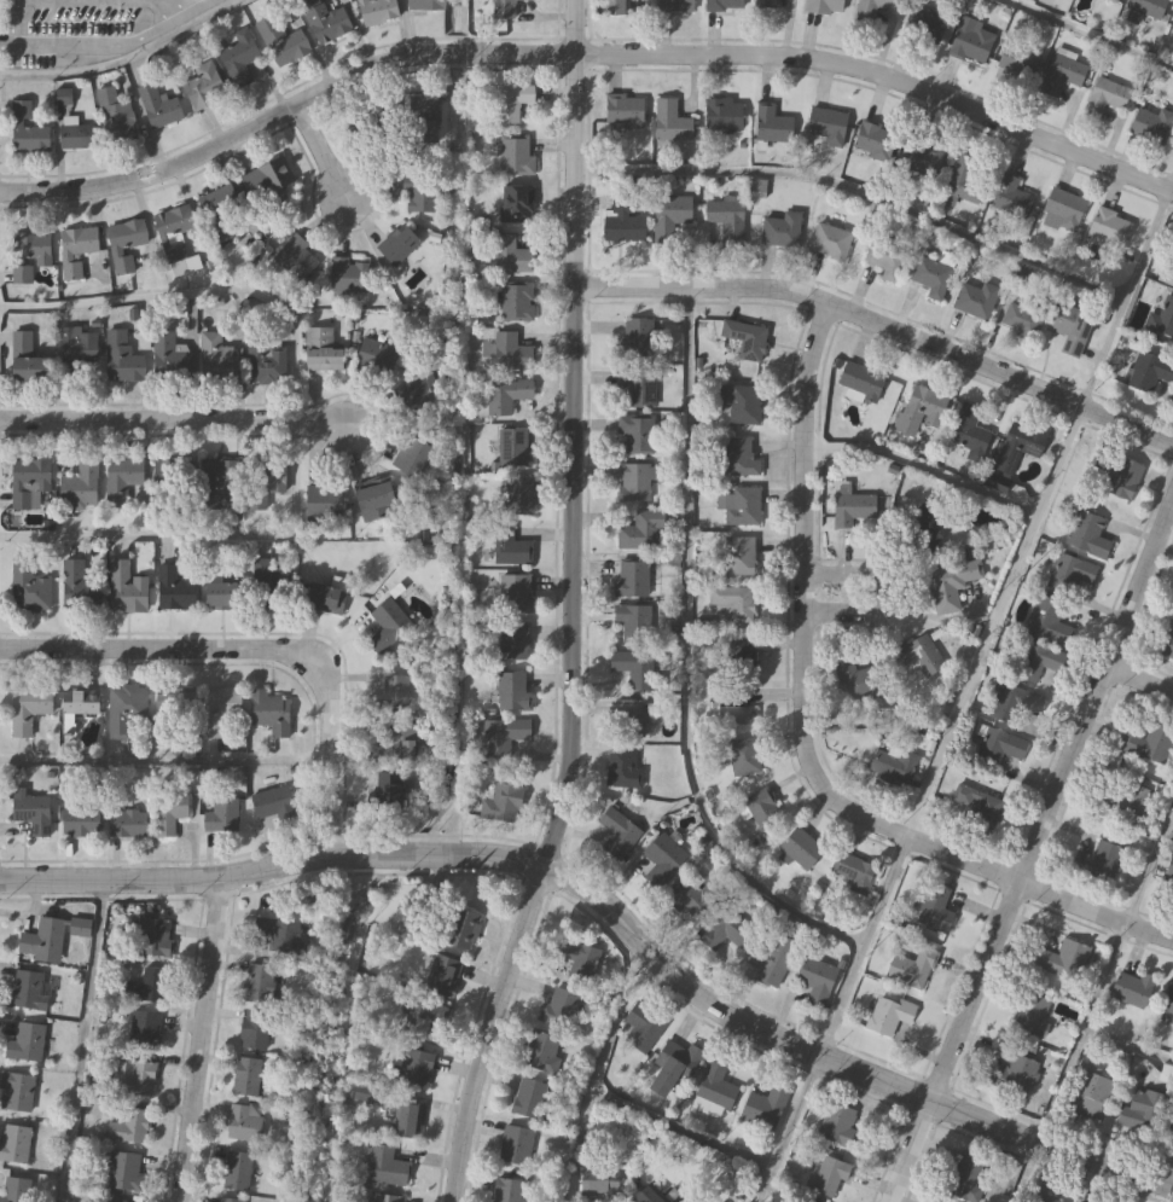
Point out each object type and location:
building: (1115, 0)
road: (190, 1)
road: (180, 2)
building: (425, 5)
building: (762, 5)
building: (675, 6)
building: (724, 6)
building: (614, 7)
building: (824, 7)
building: (503, 8)
building: (872, 8)
building: (1148, 8)
building: (377, 11)
building: (324, 22)
building: (927, 25)
road: (1088, 35)
building: (280, 42)
road: (4, 43)
building: (970, 46)
road: (585, 54)
road: (127, 57)
building: (239, 57)
building: (1017, 62)
building: (1061, 75)
building: (204, 87)
building: (1105, 98)
building: (511, 103)
building: (158, 109)
building: (625, 112)
building: (352, 116)
building: (724, 116)
building: (115, 120)
building: (425, 122)
building: (670, 122)
building: (772, 127)
building: (1152, 127)
building: (826, 128)
building: (25, 130)
building: (76, 135)
building: (875, 143)
road: (323, 152)
building: (515, 158)
building: (922, 161)
building: (964, 181)
building: (265, 188)
road: (856, 192)
building: (419, 194)
building: (1011, 198)
building: (518, 205)
building: (1064, 209)
building: (217, 213)
building: (670, 219)
building: (625, 221)
building: (174, 222)
building: (724, 223)
building: (780, 231)
building: (1108, 231)
building: (830, 243)
building: (124, 244)
building: (400, 246)
building: (75, 250)
building: (29, 255)
building: (511, 256)
building: (885, 259)
building: (295, 260)
building: (348, 278)
building: (931, 278)
building: (1172, 281)
building: (975, 300)
building: (517, 302)
building: (1161, 320)
building: (1021, 321)
road: (879, 324)
building: (1072, 331)
building: (637, 339)
building: (748, 341)
building: (76, 348)
building: (323, 352)
building: (511, 353)
building: (168, 358)
building: (377, 358)
building: (216, 359)
building: (27, 360)
building: (121, 360)
building: (265, 361)
building: (1149, 373)
building: (860, 383)
building: (638, 388)
building: (506, 396)
building: (418, 400)
building: (742, 403)
building: (921, 411)
road: (168, 419)
road: (292, 420)
building: (969, 435)
building: (637, 436)
building: (515, 449)
building: (1017, 449)
building: (412, 458)
building: (739, 459)
road: (922, 468)
building: (266, 477)
building: (1123, 478)
building: (121, 481)
building: (215, 481)
building: (637, 482)
building: (169, 483)
building: (30, 486)
building: (79, 488)
building: (517, 497)
building: (374, 501)
building: (320, 503)
building: (741, 507)
building: (853, 510)
building: (639, 532)
building: (1087, 536)
building: (511, 550)
building: (739, 558)
building: (1073, 575)
building: (631, 581)
building: (950, 583)
building: (31, 587)
building: (77, 587)
building: (174, 588)
building: (127, 590)
building: (269, 590)
building: (515, 594)
road: (883, 596)
building: (226, 597)
building: (326, 600)
building: (733, 604)
road: (568, 609)
building: (1049, 622)
building: (633, 623)
building: (388, 627)
building: (513, 643)
road: (254, 648)
building: (1169, 648)
building: (741, 657)
road: (685, 658)
building: (919, 658)
building: (1038, 663)
building: (633, 669)
building: (856, 681)
road: (1138, 681)
road: (965, 690)
building: (512, 693)
building: (395, 696)
building: (81, 704)
building: (1015, 705)
building: (736, 708)
building: (28, 710)
building: (124, 710)
building: (219, 710)
building: (175, 712)
building: (272, 715)
building: (627, 720)
building: (504, 737)
road: (799, 739)
building: (400, 744)
building: (1151, 744)
building: (999, 749)
building: (744, 759)
road: (163, 761)
building: (623, 766)
building: (893, 768)
building: (389, 792)
road: (1050, 795)
building: (272, 802)
building: (1131, 802)
building: (976, 805)
building: (503, 806)
building: (762, 811)
building: (169, 813)
building: (33, 814)
road: (1171, 815)
building: (221, 818)
building: (81, 824)
building: (128, 825)
building: (617, 834)
building: (801, 849)
road: (498, 855)
building: (662, 860)
building: (1098, 863)
building: (1171, 872)
building: (855, 873)
building: (695, 901)
building: (933, 906)
building: (463, 930)
building: (726, 931)
building: (280, 935)
building: (51, 939)
building: (153, 939)
building: (577, 960)
building: (773, 960)
building: (1063, 960)
building: (912, 969)
building: (443, 977)
building: (818, 980)
building: (259, 985)
building: (146, 988)
building: (1133, 989)
building: (28, 992)
building: (1168, 1001)
road: (1092, 1003)
building: (559, 1009)
building: (1032, 1015)
building: (888, 1016)
building: (425, 1017)
building: (641, 1029)
building: (144, 1030)
building: (255, 1030)
road: (198, 1039)
road: (82, 1040)
building: (25, 1044)
road: (1127, 1046)
building: (542, 1052)
building: (673, 1067)
building: (416, 1069)
road: (597, 1069)
building: (1015, 1075)
building: (1166, 1075)
building: (246, 1078)
building: (133, 1079)
building: (715, 1090)
building: (16, 1092)
building: (1090, 1094)
building: (530, 1099)
building: (765, 1108)
building: (1142, 1111)
building: (407, 1121)
building: (244, 1125)
building: (128, 1127)
building: (841, 1128)
building: (1169, 1128)
road: (681, 1132)
building: (13, 1144)
road: (1047, 1145)
building: (516, 1146)
road: (905, 1150)
building: (387, 1167)
building: (237, 1171)
building: (123, 1172)
building: (831, 1178)
building: (964, 1180)
building: (602, 1188)
building: (14, 1190)
building: (511, 1191)
building: (649, 1196)
building: (1040, 1197)
building: (387, 1198)
building: (226, 1200)
building: (116, 1201)
building: (806, 1201)
building: (808, 1201)

